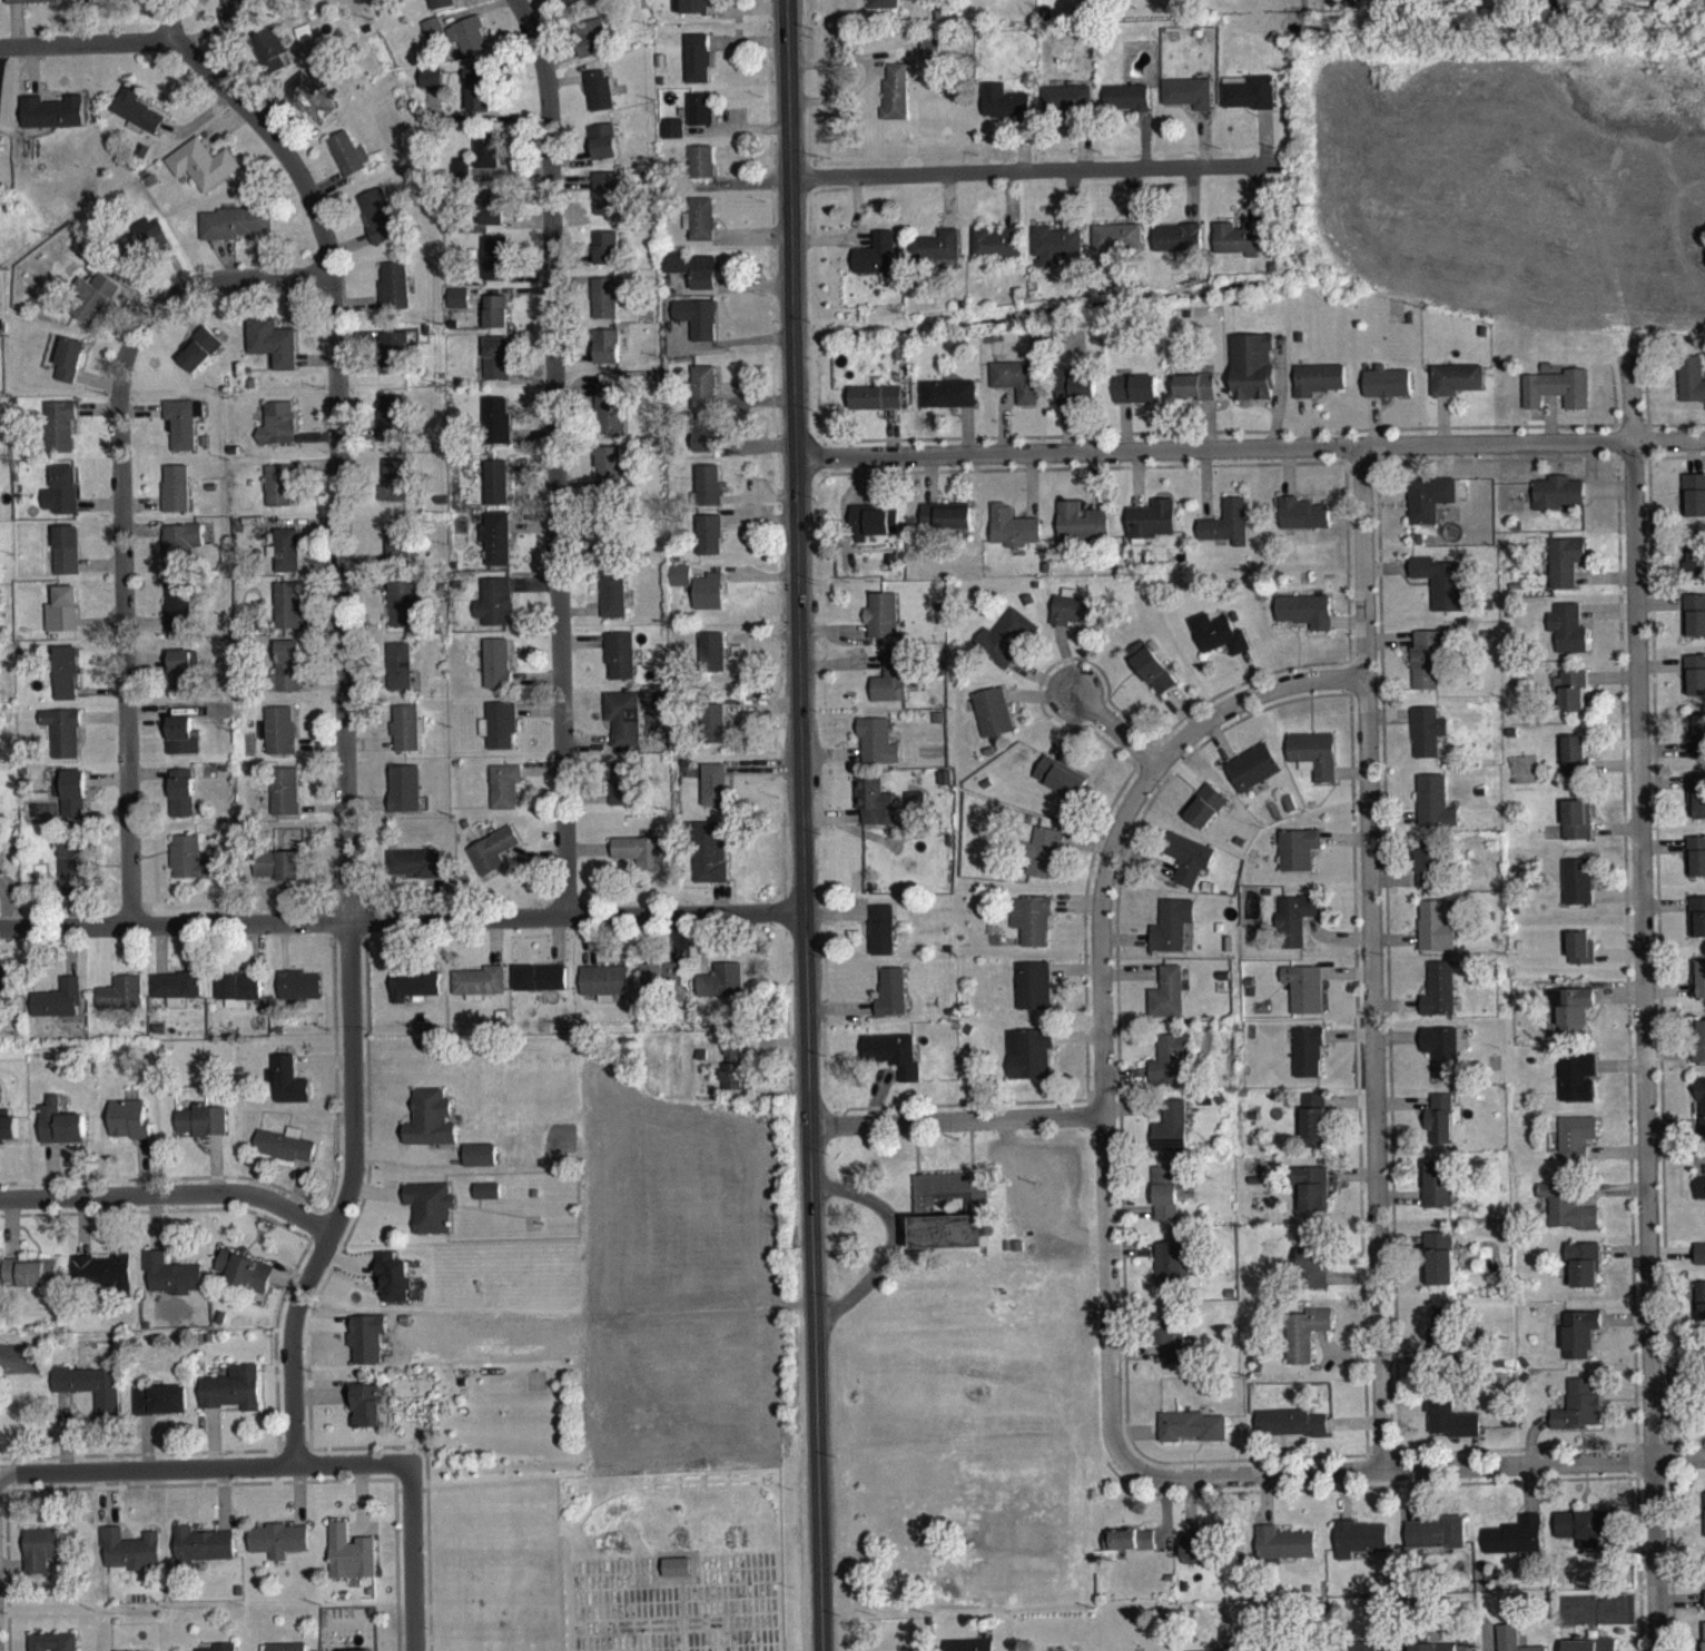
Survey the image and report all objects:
building: (88, 2)
building: (31, 6)
building: (571, 7)
building: (441, 9)
building: (886, 10)
building: (691, 12)
building: (236, 19)
building: (434, 40)
building: (469, 46)
building: (591, 48)
road: (85, 53)
building: (268, 61)
building: (698, 68)
building: (431, 88)
building: (481, 98)
building: (599, 100)
building: (897, 101)
building: (1250, 102)
building: (1190, 103)
building: (311, 106)
building: (1066, 108)
building: (1127, 108)
building: (1005, 112)
building: (700, 119)
building: (136, 120)
building: (51, 122)
building: (672, 139)
building: (603, 152)
building: (486, 160)
building: (348, 164)
road: (1034, 170)
building: (701, 172)
building: (201, 174)
building: (460, 177)
building: (605, 204)
building: (492, 218)
building: (377, 226)
building: (700, 229)
building: (235, 234)
building: (1118, 247)
building: (1179, 248)
building: (145, 249)
building: (1242, 249)
building: (998, 253)
building: (1056, 255)
building: (607, 258)
building: (937, 258)
building: (879, 266)
building: (495, 268)
building: (692, 279)
road: (284, 288)
building: (393, 296)
building: (457, 308)
building: (605, 308)
building: (91, 309)
building: (495, 322)
building: (698, 328)
building: (272, 353)
building: (608, 357)
building: (200, 359)
building: (393, 363)
building: (496, 368)
building: (69, 370)
building: (1254, 377)
building: (1319, 389)
building: (1458, 389)
building: (1692, 389)
building: (1017, 390)
building: (1389, 393)
building: (704, 397)
building: (1198, 397)
building: (1076, 398)
building: (1136, 399)
building: (1558, 399)
building: (949, 405)
building: (877, 408)
building: (610, 414)
building: (391, 431)
building: (496, 431)
building: (181, 433)
building: (277, 434)
building: (60, 436)
building: (706, 446)
road: (1215, 446)
road: (1667, 452)
road: (559, 455)
building: (613, 478)
building: (393, 491)
building: (496, 493)
building: (709, 495)
building: (278, 496)
road: (119, 498)
building: (63, 500)
building: (175, 500)
building: (1558, 503)
building: (1695, 505)
building: (1430, 508)
building: (1303, 524)
building: (955, 528)
building: (1152, 530)
building: (874, 533)
building: (1083, 534)
building: (1228, 534)
building: (1014, 537)
building: (710, 545)
building: (496, 548)
building: (397, 552)
building: (179, 555)
building: (286, 560)
building: (66, 561)
building: (1695, 567)
building: (1566, 572)
building: (681, 585)
building: (1441, 593)
building: (709, 602)
building: (613, 605)
building: (403, 613)
building: (494, 613)
building: (287, 616)
building: (178, 619)
building: (62, 620)
building: (1305, 621)
building: (883, 626)
building: (1695, 626)
building: (1568, 639)
building: (1220, 645)
building: (1005, 649)
building: (712, 662)
building: (619, 665)
building: (1428, 671)
building: (496, 674)
building: (287, 676)
building: (183, 678)
building: (400, 678)
building: (1152, 679)
building: (66, 682)
building: (1696, 685)
building: (890, 690)
building: (1571, 701)
road: (1250, 703)
road: (343, 709)
building: (661, 712)
road: (1084, 716)
building: (993, 723)
building: (623, 729)
building: (716, 734)
building: (500, 735)
building: (406, 739)
building: (63, 741)
building: (278, 741)
building: (1428, 742)
building: (181, 747)
building: (1699, 747)
building: (877, 752)
building: (1314, 765)
building: (1575, 767)
building: (1253, 779)
building: (1061, 789)
building: (623, 794)
building: (504, 795)
building: (712, 795)
building: (404, 799)
building: (285, 801)
building: (181, 803)
building: (71, 805)
building: (1696, 807)
building: (874, 812)
building: (1435, 813)
building: (1206, 818)
road: (801, 824)
building: (1578, 831)
road: (127, 849)
building: (1298, 860)
building: (492, 861)
building: (1044, 861)
building: (638, 862)
building: (709, 863)
building: (1696, 867)
building: (1189, 869)
building: (193, 870)
building: (415, 873)
building: (73, 876)
building: (277, 876)
building: (1429, 879)
building: (1, 881)
building: (1578, 892)
road: (401, 920)
building: (1697, 928)
building: (1297, 929)
building: (1033, 931)
building: (1172, 937)
building: (1436, 937)
building: (881, 941)
road: (1378, 956)
building: (1581, 959)
building: (541, 988)
building: (720, 991)
building: (480, 992)
building: (604, 992)
building: (1699, 992)
building: (7, 995)
building: (414, 995)
building: (300, 996)
building: (1034, 997)
building: (176, 998)
building: (239, 998)
building: (1304, 999)
building: (1440, 1000)
building: (121, 1004)
building: (891, 1004)
building: (1169, 1004)
building: (59, 1010)
building: (1571, 1019)
road: (1635, 1051)
building: (1699, 1051)
building: (1441, 1060)
building: (1029, 1064)
building: (1309, 1064)
building: (894, 1065)
building: (1172, 1070)
building: (735, 1075)
building: (1578, 1089)
building: (289, 1091)
road: (1110, 1114)
building: (1702, 1117)
road: (960, 1119)
building: (433, 1129)
building: (129, 1130)
building: (1440, 1130)
building: (204, 1131)
building: (1315, 1131)
building: (61, 1133)
building: (1172, 1138)
building: (1577, 1148)
building: (286, 1156)
building: (482, 1166)
road: (169, 1192)
building: (1438, 1196)
building: (1313, 1198)
building: (1699, 1198)
building: (489, 1202)
building: (1165, 1205)
building: (432, 1218)
building: (1568, 1218)
building: (950, 1223)
road: (893, 1243)
building: (1701, 1265)
building: (1440, 1268)
building: (1313, 1271)
building: (1172, 1273)
building: (1585, 1275)
building: (106, 1281)
building: (246, 1282)
building: (31, 1283)
building: (173, 1285)
building: (395, 1287)
building: (1702, 1314)
building: (1441, 1338)
building: (1307, 1344)
building: (1580, 1344)
building: (1171, 1350)
building: (91, 1396)
building: (233, 1400)
building: (161, 1411)
building: (368, 1417)
building: (1579, 1417)
building: (1450, 1425)
building: (1291, 1434)
building: (1192, 1437)
road: (1413, 1465)
road: (204, 1466)
building: (1581, 1538)
building: (1436, 1544)
building: (1516, 1548)
building: (1359, 1549)
building: (279, 1551)
building: (1130, 1551)
building: (1284, 1554)
road: (412, 1558)
building: (1196, 1558)
building: (41, 1561)
building: (130, 1561)
building: (351, 1564)
building: (678, 1578)
building: (1508, 1643)
building: (53, 1648)
building: (978, 1650)
building: (1606, 1650)

